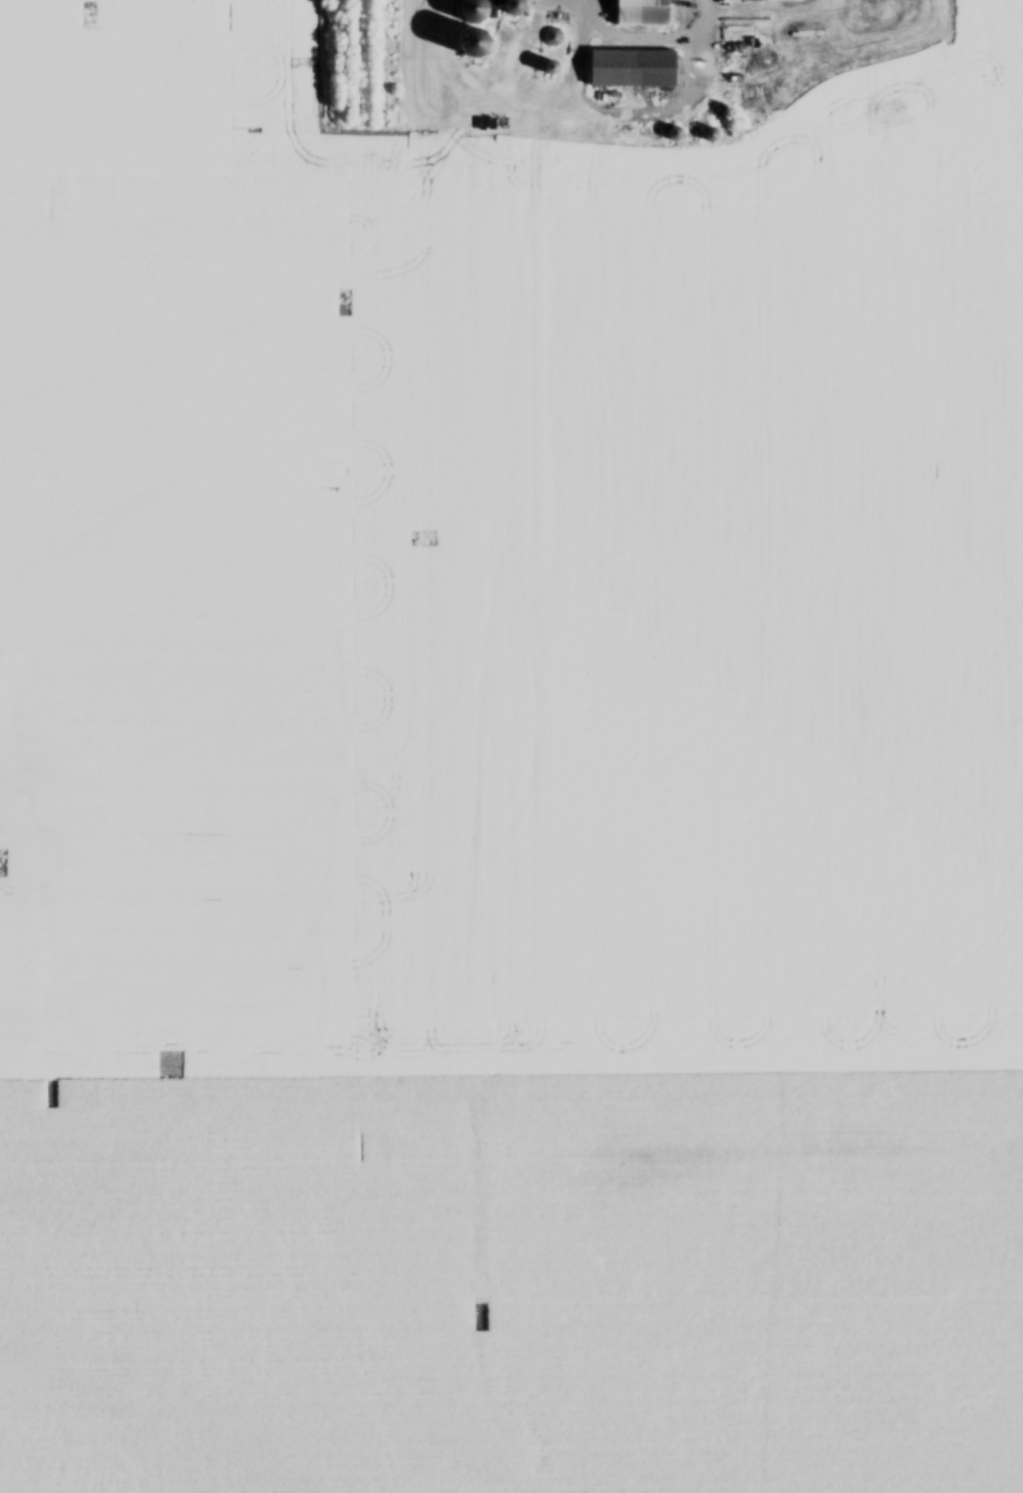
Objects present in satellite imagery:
building: (514, 8)
building: (472, 12)
building: (642, 14)
building: (552, 39)
building: (475, 46)
building: (633, 70)

